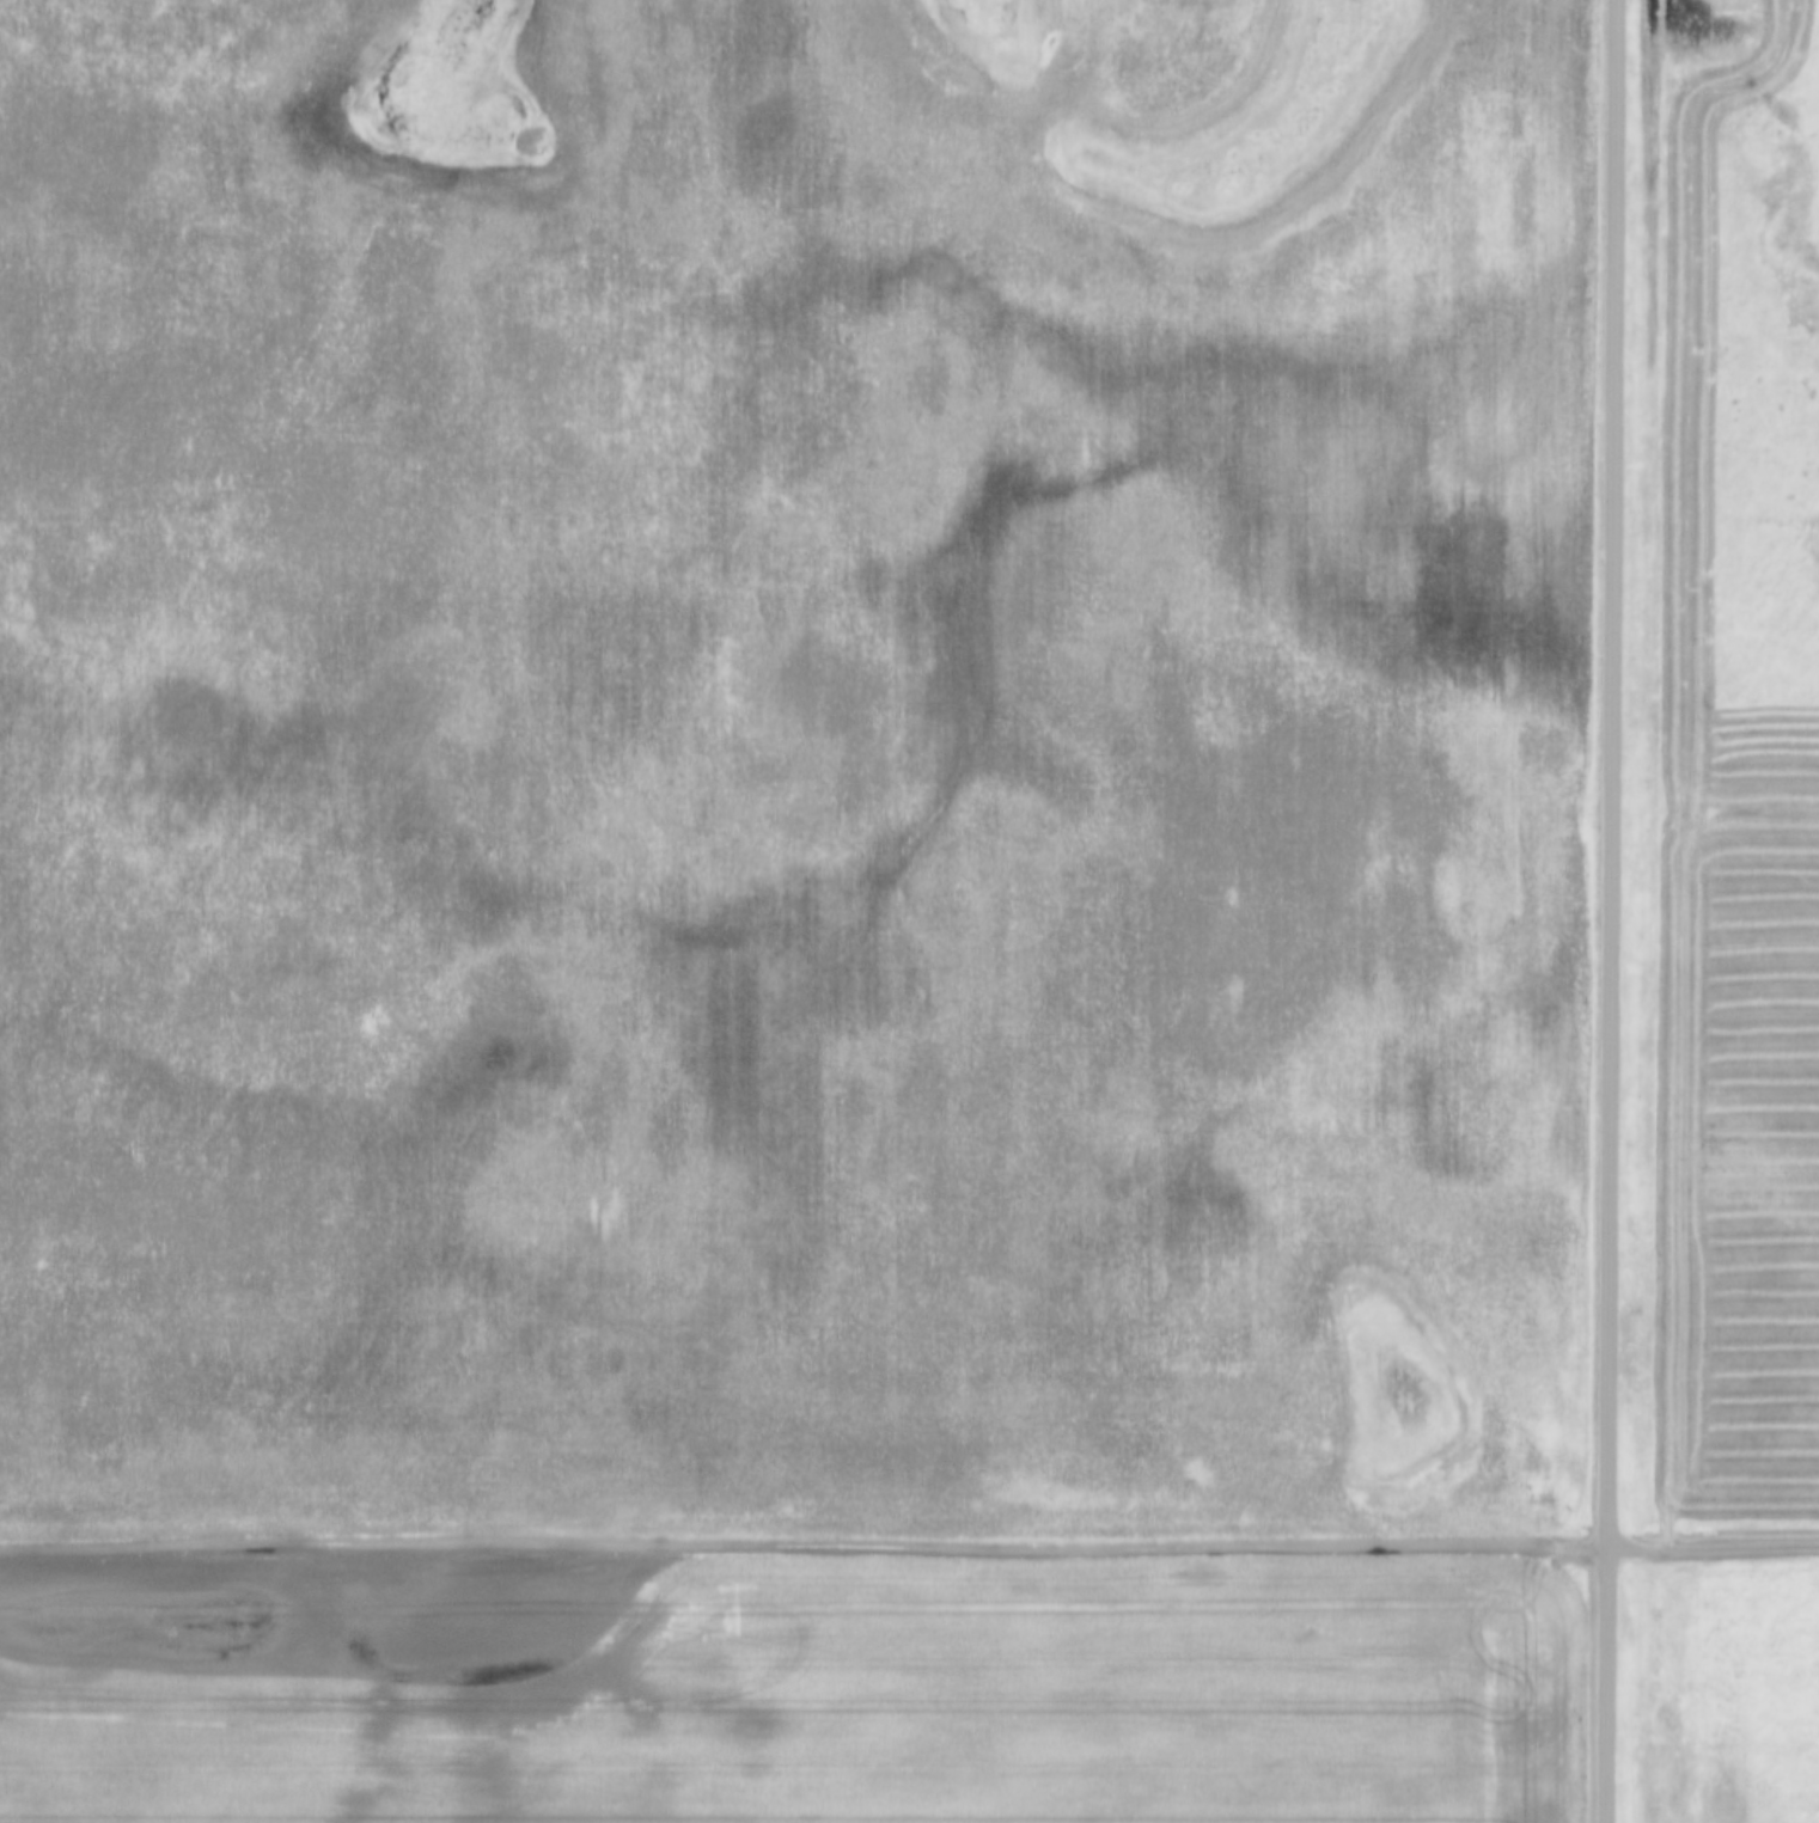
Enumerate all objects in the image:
road: (1616, 911)
road: (908, 1543)

